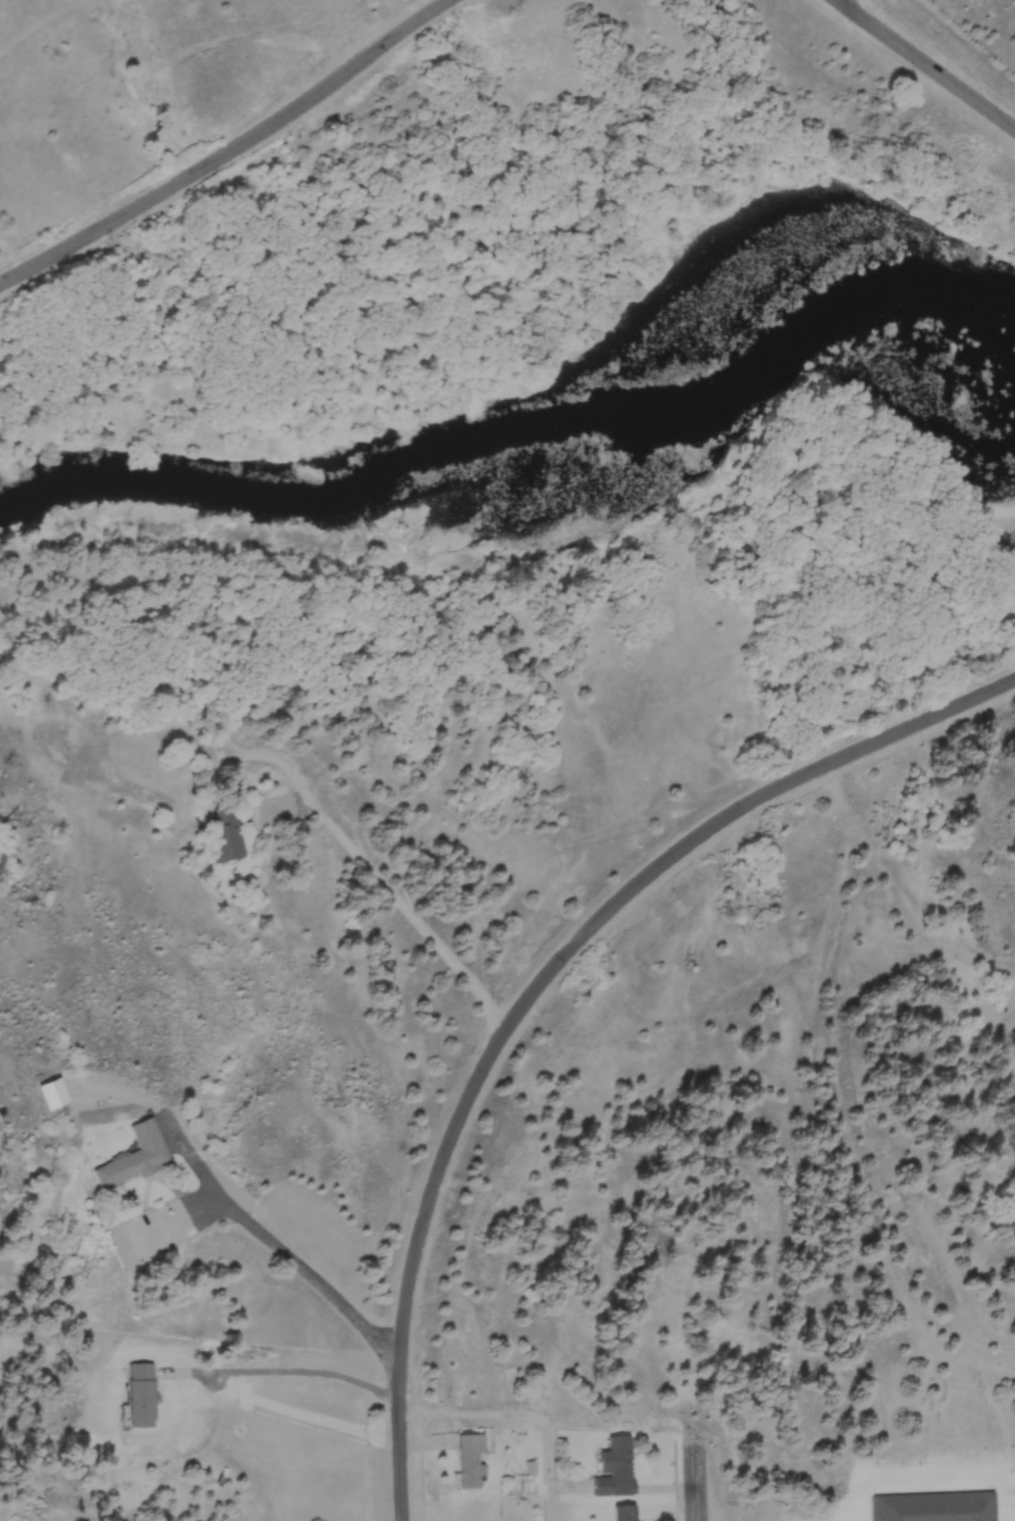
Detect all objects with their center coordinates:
road: (919, 71)
road: (235, 152)
building: (228, 830)
road: (396, 893)
road: (590, 924)
building: (48, 1091)
building: (129, 1155)
road: (273, 1236)
road: (290, 1369)
building: (139, 1395)
road: (471, 1411)
road: (404, 1443)
building: (468, 1458)
road: (555, 1465)
building: (615, 1466)
road: (696, 1481)
building: (935, 1506)
building: (625, 1512)

